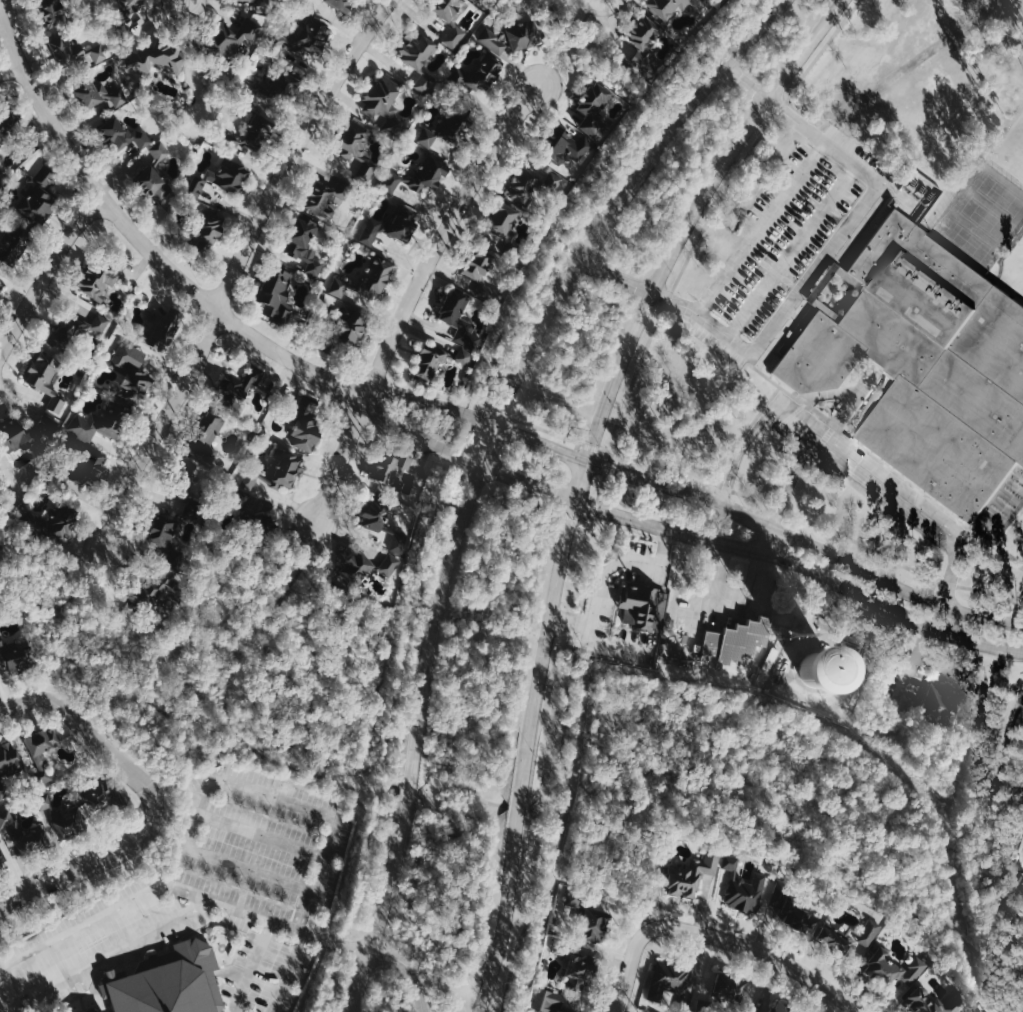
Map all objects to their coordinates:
building: (304, 0)
building: (251, 1)
building: (479, 1)
park: (962, 2)
building: (340, 4)
building: (671, 5)
building: (49, 12)
building: (120, 18)
building: (448, 19)
road: (561, 19)
road: (582, 29)
building: (233, 34)
building: (521, 35)
building: (302, 36)
building: (644, 39)
building: (491, 41)
road: (823, 48)
building: (74, 49)
building: (155, 57)
building: (416, 58)
road: (12, 71)
building: (481, 73)
building: (456, 83)
building: (276, 84)
building: (93, 90)
building: (260, 95)
building: (594, 98)
building: (381, 101)
road: (656, 101)
road: (781, 107)
building: (6, 119)
building: (589, 126)
building: (452, 127)
building: (254, 131)
building: (120, 134)
building: (4, 135)
building: (425, 138)
building: (356, 146)
building: (563, 146)
building: (941, 153)
storage tank: (941, 153)
building: (428, 171)
building: (152, 175)
building: (2, 176)
building: (219, 176)
building: (552, 180)
building: (390, 181)
building: (522, 186)
building: (38, 195)
building: (326, 196)
road: (720, 201)
park: (981, 218)
building: (502, 220)
building: (400, 224)
road: (762, 228)
building: (206, 229)
building: (368, 234)
parking lot: (785, 239)
road: (139, 240)
building: (303, 242)
building: (11, 243)
building: (511, 248)
road: (560, 249)
road: (791, 250)
building: (475, 263)
road: (240, 265)
road: (46, 272)
road: (816, 272)
building: (101, 276)
building: (373, 276)
building: (1, 286)
building: (337, 286)
building: (487, 293)
building: (275, 295)
road: (414, 295)
road: (668, 298)
building: (458, 318)
building: (350, 325)
building: (162, 329)
building: (71, 331)
building: (329, 345)
building: (462, 356)
building: (427, 362)
building: (927, 363)
building: (129, 375)
building: (44, 376)
road: (635, 378)
building: (236, 387)
road: (500, 414)
road: (479, 415)
road: (478, 419)
building: (102, 420)
building: (304, 422)
traffic signals: (496, 422)
road: (547, 431)
building: (25, 432)
building: (205, 436)
road: (467, 438)
road: (597, 446)
road: (850, 451)
road: (461, 455)
road: (464, 459)
building: (404, 460)
traffic signals: (589, 461)
road: (609, 463)
road: (844, 465)
building: (287, 466)
building: (381, 466)
road: (478, 466)
building: (77, 468)
road: (667, 468)
traffic signals: (478, 469)
road: (584, 475)
building: (192, 482)
building: (183, 483)
road: (601, 488)
road: (754, 499)
traffic signals: (574, 505)
road: (594, 510)
building: (374, 512)
building: (241, 515)
building: (52, 520)
building: (165, 539)
road: (768, 541)
building: (397, 542)
road: (806, 543)
road: (861, 546)
building: (365, 566)
road: (801, 569)
road: (604, 573)
road: (86, 576)
road: (945, 583)
building: (155, 590)
road: (990, 591)
building: (643, 607)
road: (263, 622)
road: (408, 637)
building: (737, 640)
road: (613, 645)
building: (16, 657)
water tower: (819, 669)
building: (943, 703)
road: (174, 713)
road: (118, 716)
road: (80, 724)
building: (42, 751)
building: (9, 767)
road: (565, 771)
road: (467, 794)
building: (102, 795)
road: (989, 800)
road: (796, 811)
road: (1007, 813)
building: (64, 816)
building: (26, 836)
road: (368, 851)
building: (2, 855)
road: (95, 859)
building: (1, 867)
building: (692, 875)
road: (632, 877)
building: (745, 887)
parking lot: (209, 897)
building: (575, 898)
building: (801, 918)
road: (83, 925)
building: (595, 925)
road: (308, 933)
building: (849, 936)
road: (340, 943)
road: (748, 948)
road: (109, 954)
building: (896, 967)
road: (291, 972)
building: (579, 973)
building: (672, 980)
building: (170, 981)
road: (332, 981)
road: (626, 981)
building: (724, 987)
road: (1020, 1001)
building: (557, 1002)
building: (931, 1002)
building: (785, 1009)

